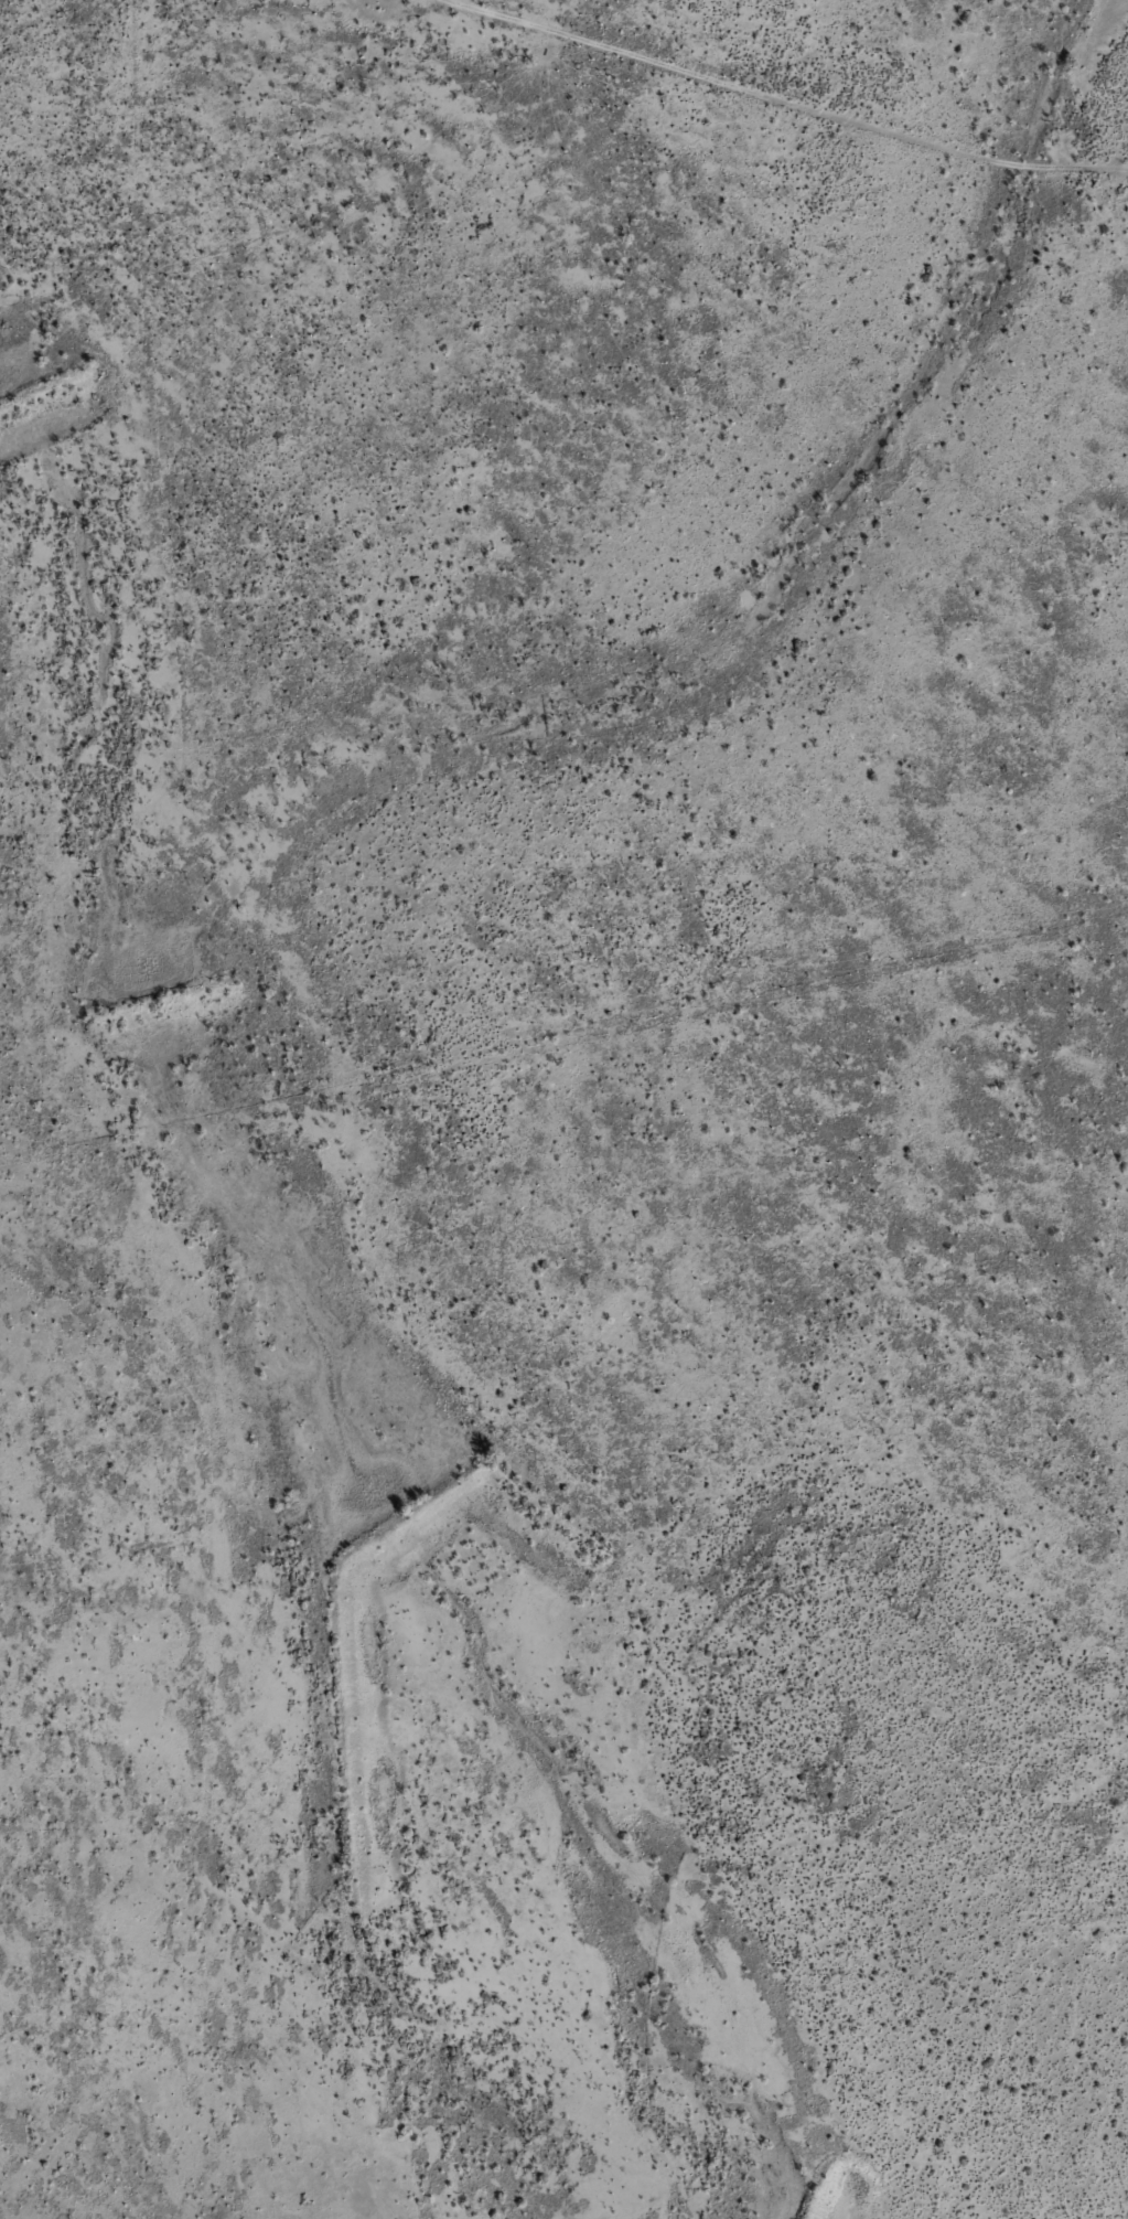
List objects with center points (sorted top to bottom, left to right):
road: (35, 10)
road: (40, 33)
road: (939, 62)

